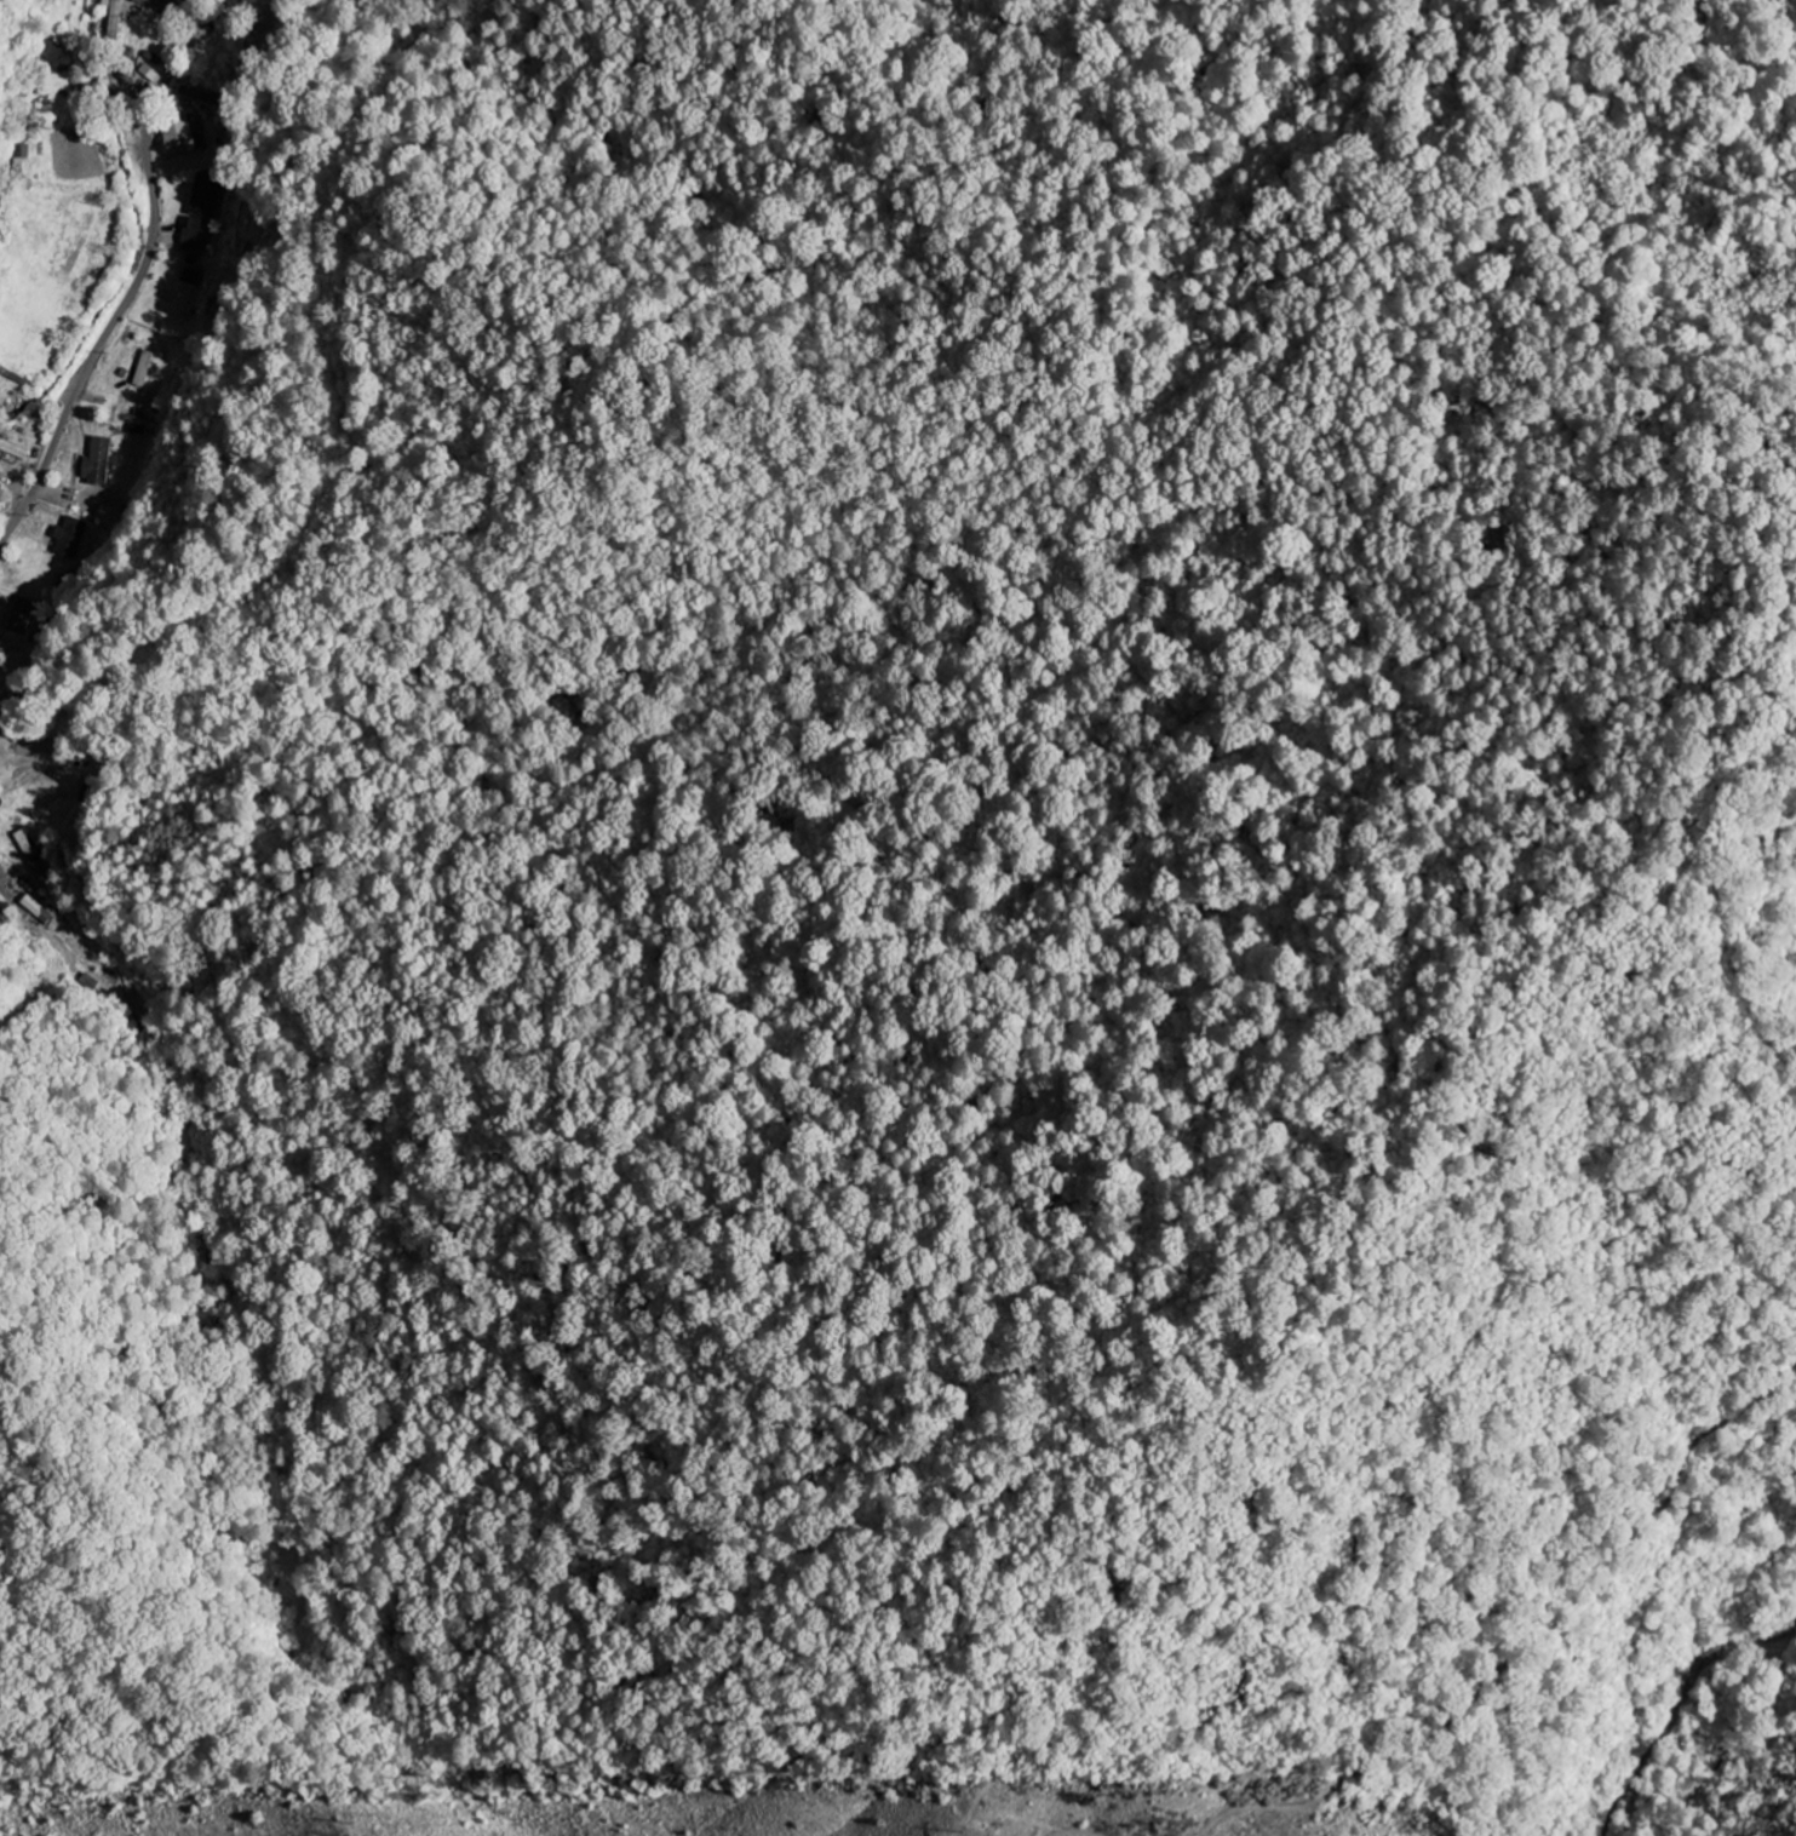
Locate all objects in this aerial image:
road: (223, 13)
building: (185, 137)
building: (203, 211)
road: (137, 283)
building: (145, 369)
building: (15, 449)
building: (99, 463)
building: (73, 538)
building: (30, 851)
building: (38, 912)

